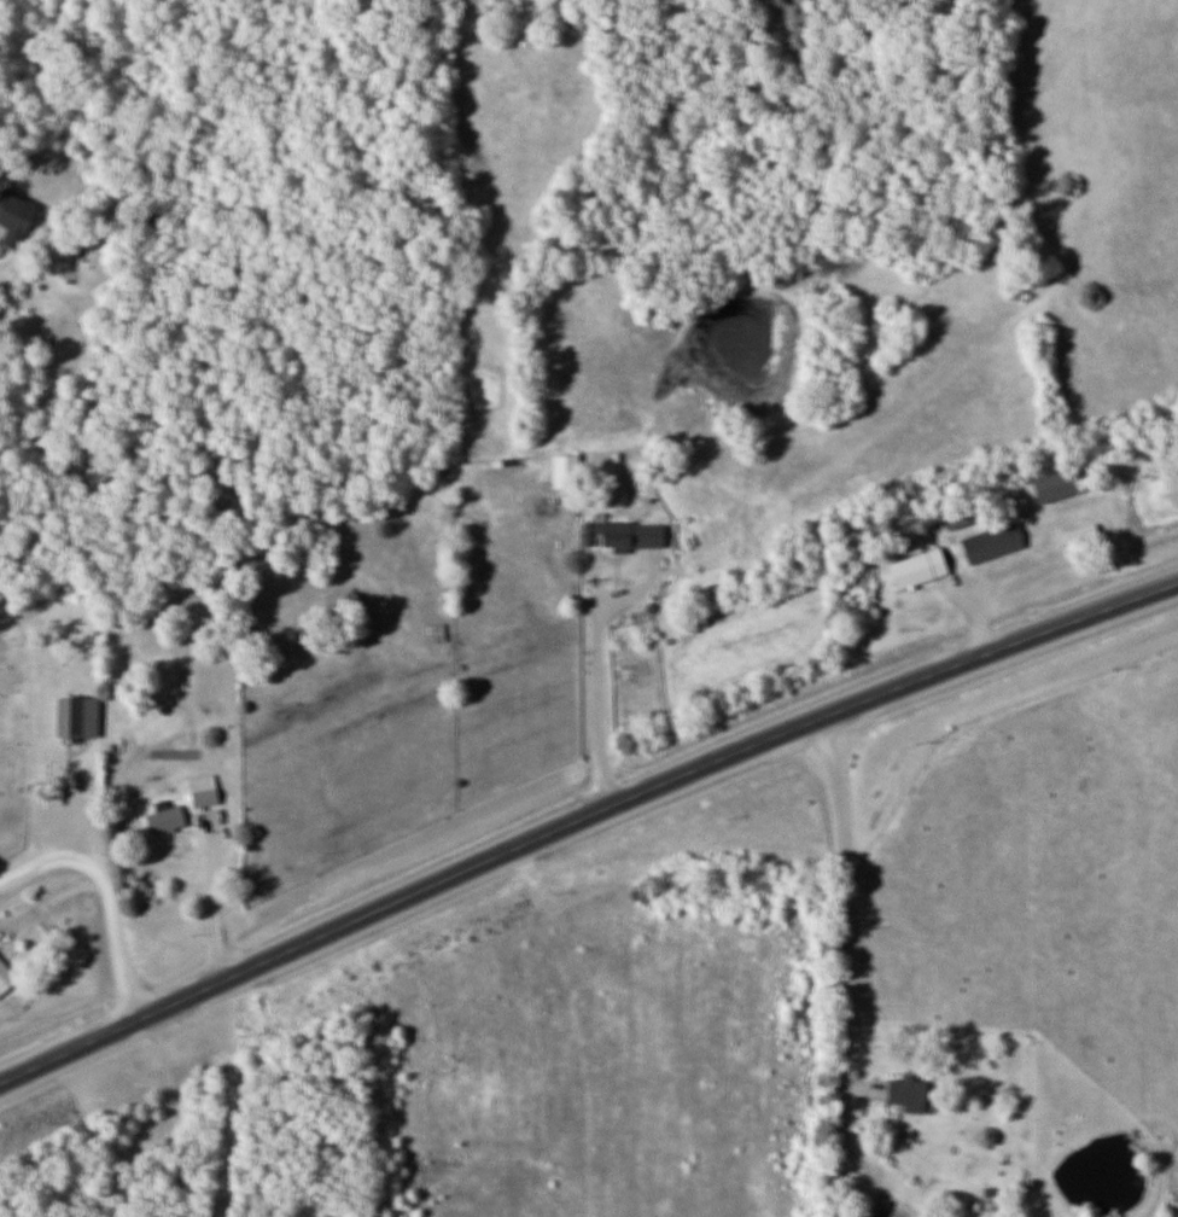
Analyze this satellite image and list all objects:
building: (18, 219)
building: (568, 470)
building: (1062, 484)
building: (966, 513)
building: (626, 534)
building: (1085, 537)
building: (996, 542)
building: (922, 567)
building: (436, 628)
road: (589, 697)
building: (78, 716)
park: (14, 734)
building: (205, 790)
building: (168, 815)
road: (582, 820)
road: (104, 892)
road: (220, 892)
road: (836, 901)
building: (7, 977)
building: (902, 1094)
road: (175, 1111)

